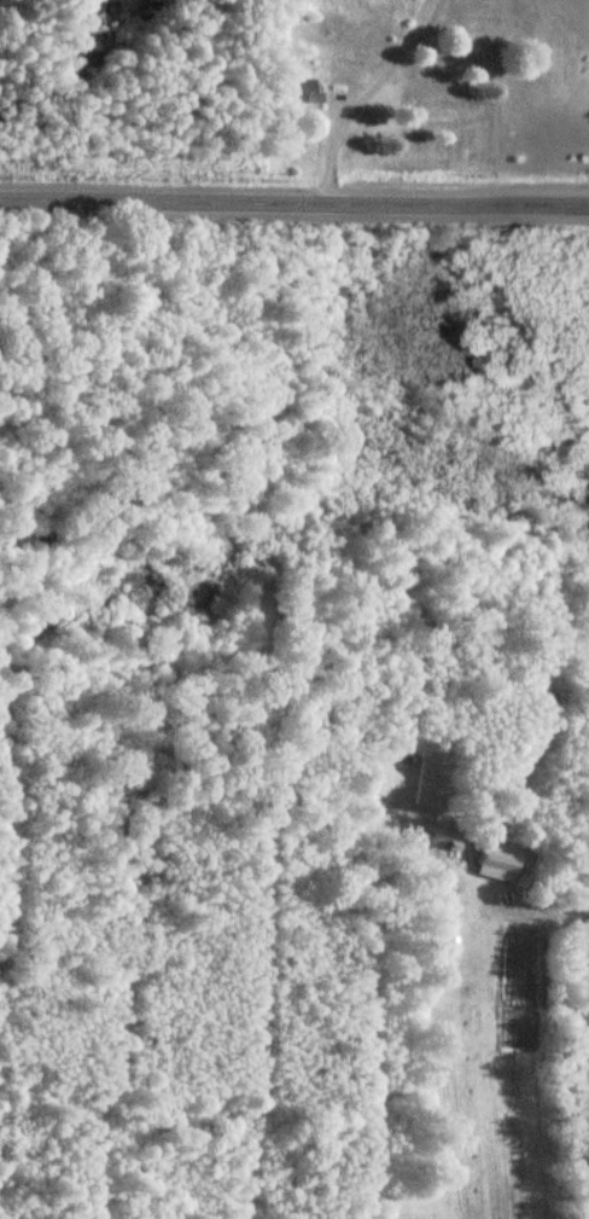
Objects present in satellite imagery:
building: (296, 91)
road: (294, 203)

